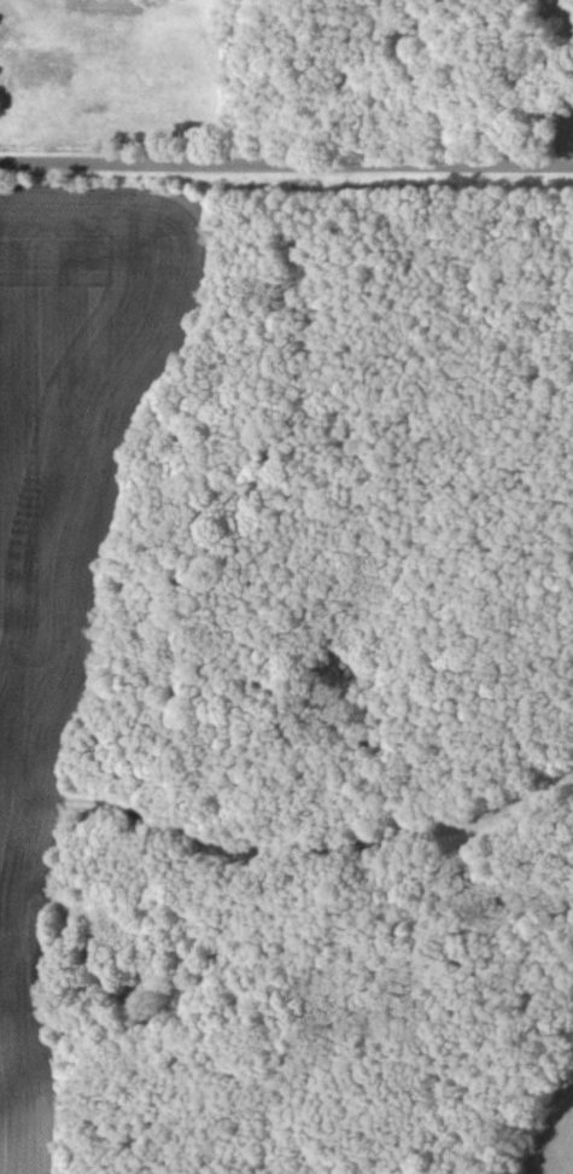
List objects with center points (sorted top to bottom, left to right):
road: (286, 152)

